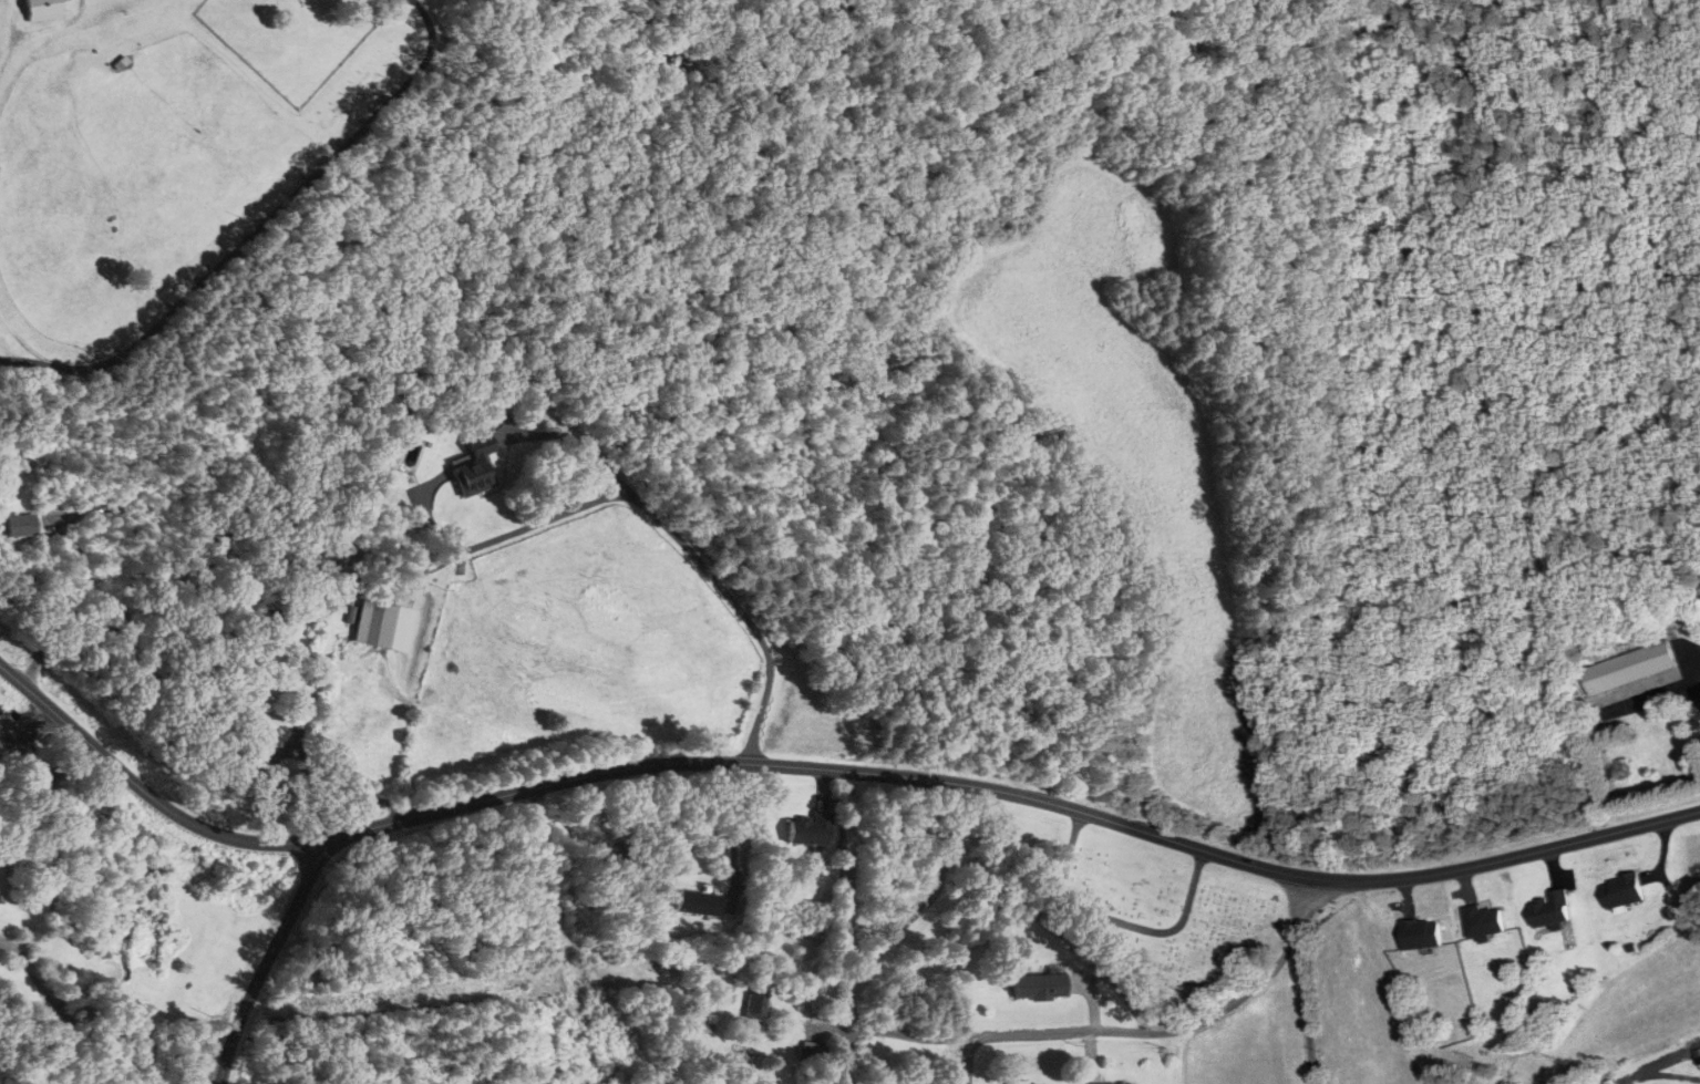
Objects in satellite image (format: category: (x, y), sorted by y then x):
building: (39, 10)
road: (8, 23)
road: (50, 28)
road: (3, 56)
building: (473, 467)
road: (657, 514)
building: (19, 526)
building: (274, 626)
building: (382, 627)
building: (1628, 668)
road: (29, 692)
road: (1652, 694)
road: (30, 730)
road: (864, 772)
building: (806, 830)
road: (733, 837)
building: (1621, 890)
building: (699, 902)
building: (1550, 909)
park: (1150, 911)
building: (1481, 921)
building: (1419, 933)
road: (267, 961)
road: (1302, 979)
building: (1038, 987)
building: (754, 1005)
road: (1090, 1033)
building: (808, 1050)
building: (1697, 1055)
road: (844, 1056)
road: (966, 1063)

